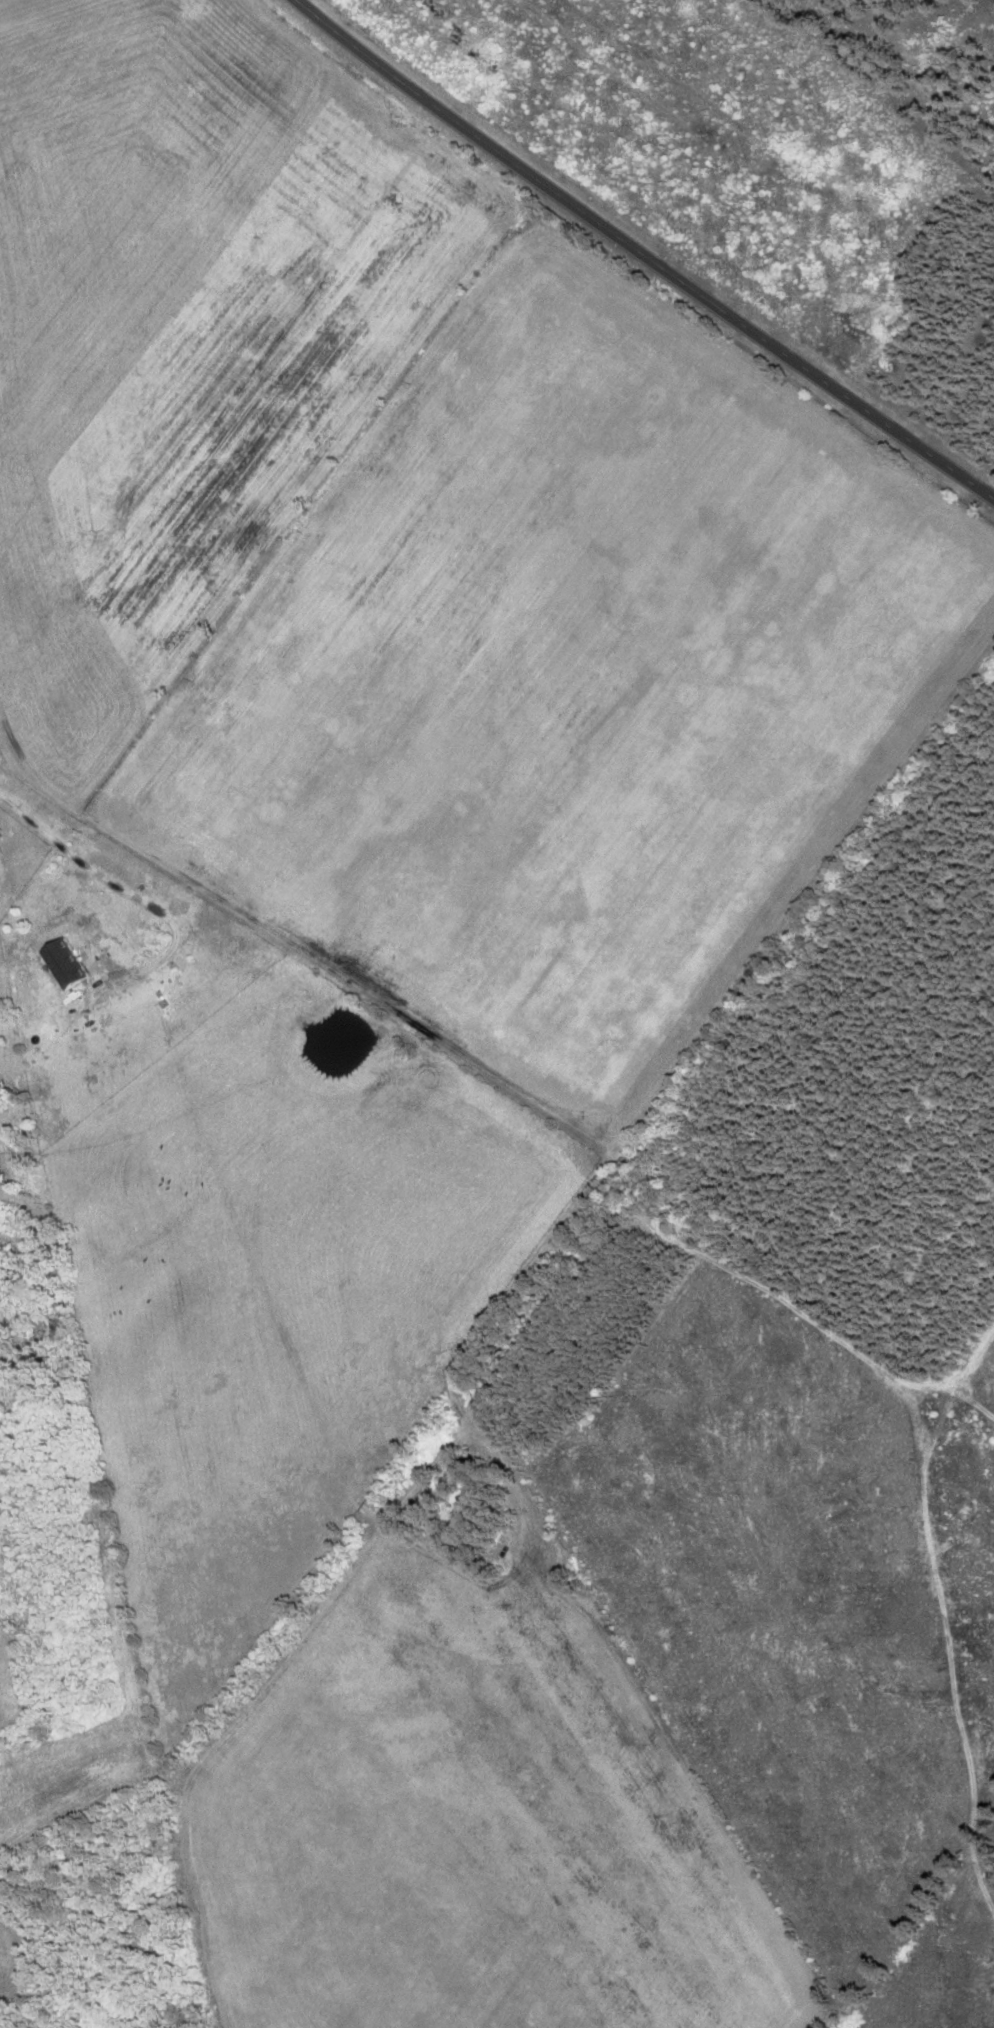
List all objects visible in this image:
road: (641, 251)
building: (67, 962)

